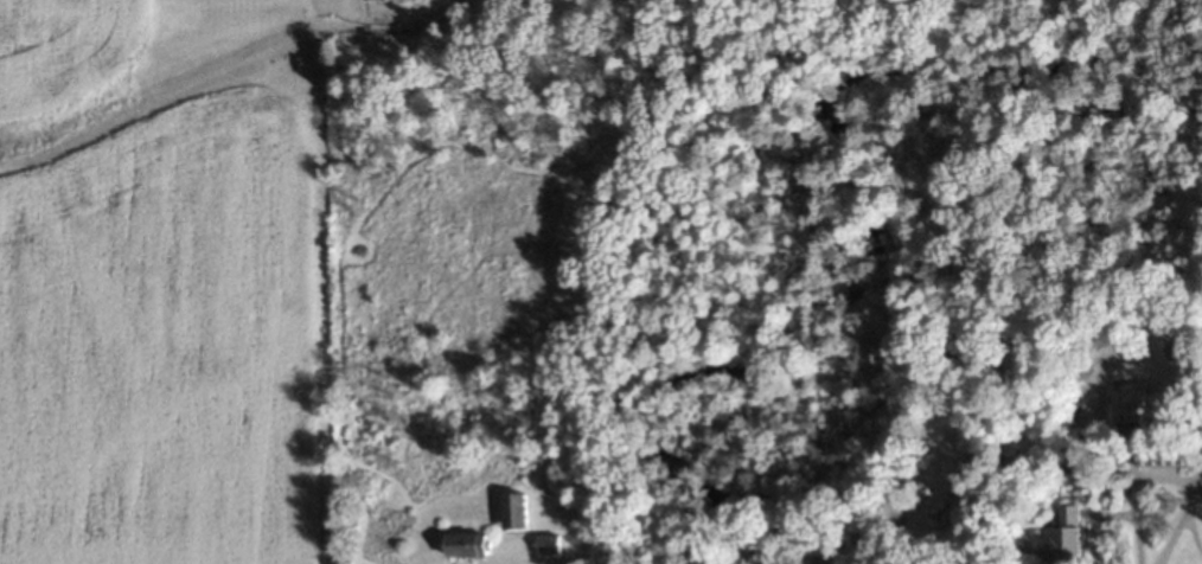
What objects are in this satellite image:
road: (343, 2)
crop: (62, 49)
park: (768, 333)
crop: (172, 339)
building: (1179, 386)
building: (1125, 404)
building: (1158, 453)
road: (1134, 492)
building: (509, 514)
road: (1178, 520)
road: (864, 524)
road: (1190, 534)
building: (1062, 536)
building: (542, 544)
building: (461, 546)
road: (513, 555)

